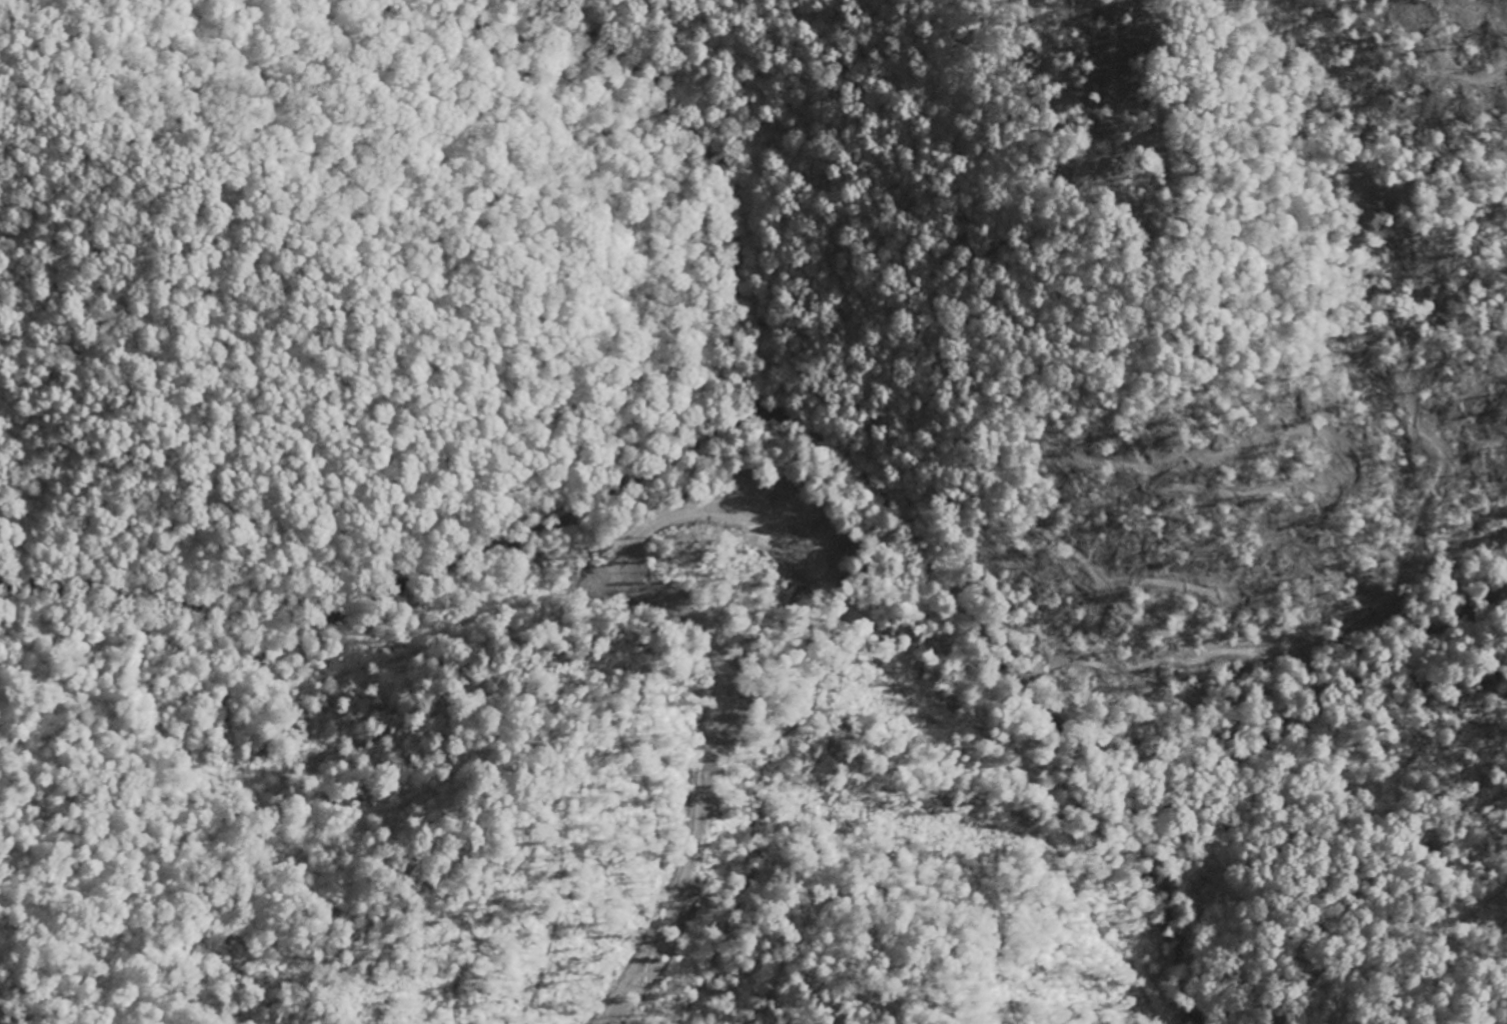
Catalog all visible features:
road: (696, 810)

